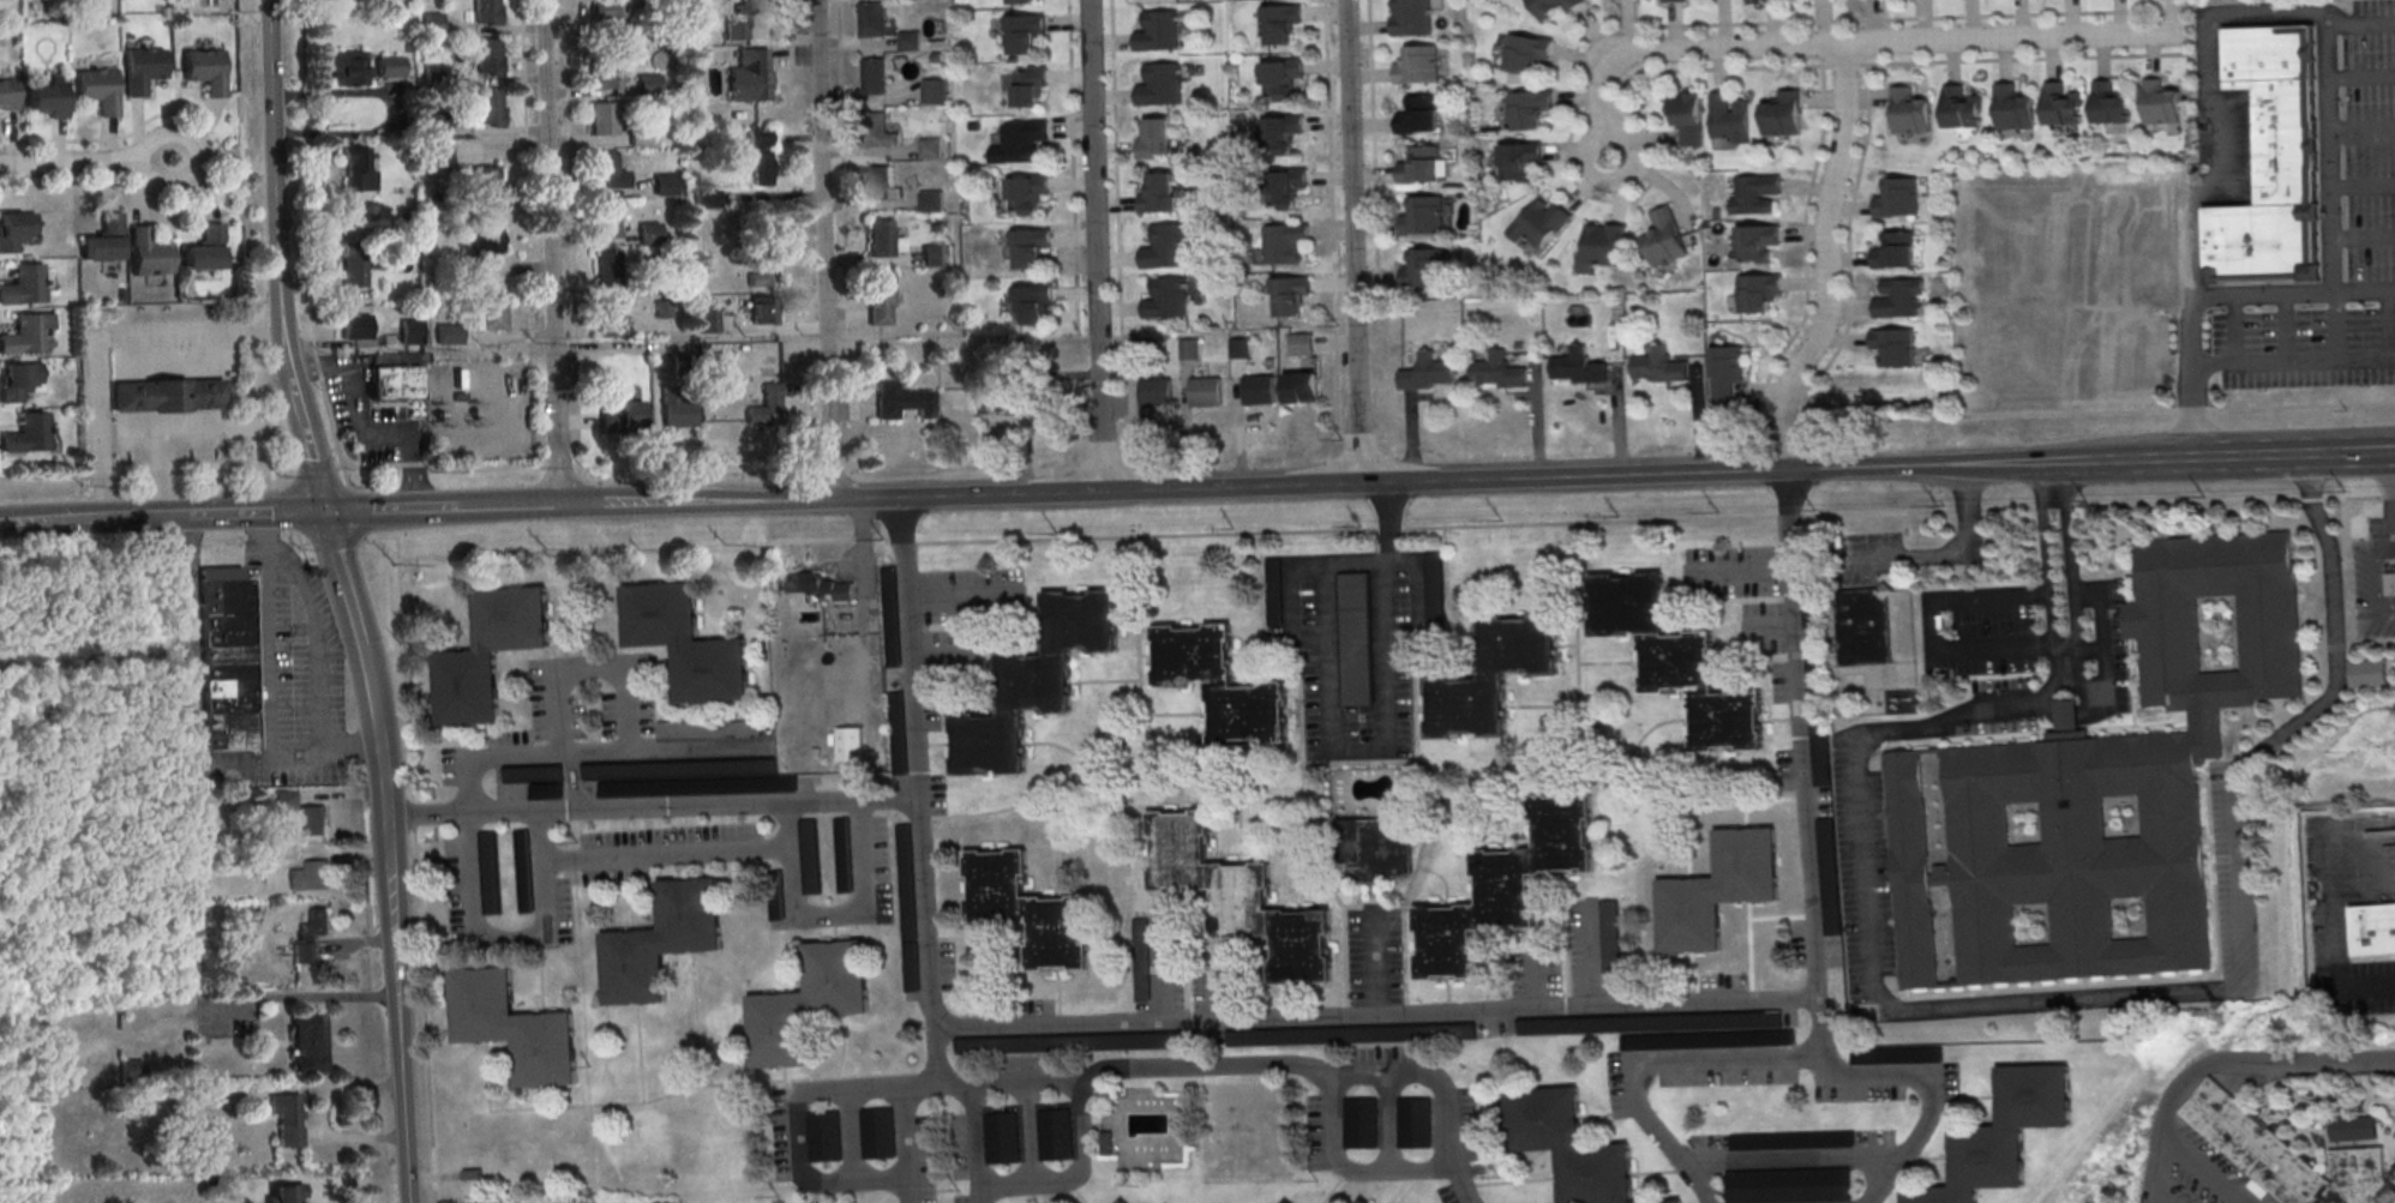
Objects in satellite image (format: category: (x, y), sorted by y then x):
building: (355, 0)
building: (1019, 1)
building: (1671, 1)
building: (751, 6)
building: (1550, 8)
building: (485, 11)
building: (611, 11)
building: (1412, 17)
building: (871, 20)
road: (1914, 20)
building: (432, 23)
building: (1280, 23)
building: (1022, 32)
building: (1157, 32)
building: (908, 42)
road: (1856, 43)
building: (1526, 52)
building: (486, 55)
building: (390, 65)
building: (1418, 65)
building: (349, 67)
road: (522, 67)
building: (140, 70)
road: (1689, 70)
building: (204, 71)
building: (600, 72)
building: (750, 76)
building: (874, 77)
road: (2361, 77)
building: (1279, 79)
building: (648, 84)
building: (1026, 84)
building: (1159, 86)
building: (98, 91)
building: (932, 91)
building: (6, 96)
building: (46, 100)
building: (2109, 103)
building: (2160, 103)
building: (2059, 104)
building: (487, 106)
building: (1961, 107)
building: (1529, 108)
building: (2011, 108)
building: (1910, 112)
road: (178, 115)
building: (1782, 115)
building: (1419, 116)
building: (1687, 116)
building: (1728, 118)
building: (601, 120)
building: (438, 124)
road: (2363, 127)
building: (872, 131)
building: (1280, 134)
building: (1156, 139)
building: (1021, 140)
road: (1328, 146)
road: (1371, 148)
building: (930, 149)
road: (2217, 154)
building: (761, 156)
building: (440, 157)
building: (1518, 158)
building: (2271, 161)
road: (88, 163)
building: (1421, 167)
road: (306, 169)
building: (358, 169)
building: (602, 170)
road: (1628, 175)
building: (487, 179)
road: (568, 179)
building: (665, 184)
building: (877, 184)
road: (65, 186)
building: (1283, 187)
road: (2364, 187)
road: (274, 190)
building: (1026, 192)
building: (1159, 193)
building: (1754, 194)
building: (707, 198)
building: (1897, 198)
building: (930, 201)
building: (1424, 217)
building: (605, 219)
building: (1539, 221)
road: (2333, 223)
building: (10, 231)
building: (648, 233)
road: (244, 234)
road: (2364, 236)
building: (1665, 237)
building: (878, 239)
building: (102, 241)
road: (1352, 242)
building: (1283, 243)
building: (1604, 243)
building: (1757, 243)
road: (1094, 246)
building: (1031, 247)
building: (1165, 247)
building: (485, 248)
road: (822, 249)
building: (203, 251)
road: (551, 252)
building: (1893, 252)
building: (146, 254)
building: (932, 257)
road: (1825, 263)
building: (353, 264)
building: (606, 270)
building: (1425, 270)
building: (763, 273)
building: (23, 285)
road: (2364, 290)
building: (1757, 293)
building: (1289, 295)
building: (1166, 299)
building: (1899, 299)
building: (878, 300)
building: (1033, 300)
building: (762, 309)
building: (491, 314)
building: (610, 318)
building: (706, 319)
building: (356, 326)
road: (2388, 326)
road: (2336, 327)
road: (2286, 329)
building: (412, 330)
road: (2234, 331)
building: (24, 336)
building: (448, 336)
road: (98, 337)
building: (1302, 343)
building: (1239, 347)
building: (1893, 347)
building: (1190, 348)
road: (316, 356)
road: (318, 363)
road: (2293, 363)
building: (1659, 365)
building: (1579, 366)
building: (1727, 369)
building: (1499, 371)
building: (1429, 372)
building: (457, 379)
building: (17, 381)
building: (56, 385)
building: (395, 385)
building: (1302, 387)
building: (1259, 390)
building: (168, 393)
building: (1156, 393)
building: (1205, 393)
building: (1002, 396)
building: (457, 398)
building: (902, 401)
building: (677, 407)
building: (767, 407)
power substation: (479, 409)
road: (2053, 415)
road: (361, 416)
building: (620, 416)
road: (331, 422)
road: (186, 429)
building: (26, 435)
road: (545, 438)
road: (307, 445)
road: (2270, 457)
road: (2097, 462)
road: (2005, 465)
road: (416, 467)
road: (367, 468)
road: (314, 469)
road: (409, 469)
road: (1873, 469)
road: (146, 474)
road: (2051, 481)
road: (1172, 489)
road: (352, 505)
road: (510, 507)
traffic signals: (324, 512)
road: (392, 512)
road: (254, 515)
road: (287, 515)
road: (92, 521)
road: (1656, 524)
road: (2381, 536)
road: (2387, 540)
road: (902, 547)
road: (722, 554)
road: (1945, 554)
road: (476, 561)
road: (1740, 572)
road: (2069, 573)
road: (2045, 576)
road: (340, 579)
building: (1434, 584)
building: (821, 587)
building: (1274, 589)
road: (960, 594)
road: (1385, 608)
building: (1812, 612)
building: (889, 619)
building: (1863, 628)
road: (1931, 633)
building: (1355, 640)
building: (686, 644)
road: (318, 650)
road: (2103, 651)
road: (941, 654)
building: (488, 655)
building: (226, 661)
road: (1329, 663)
building: (1676, 663)
road: (594, 668)
building: (2369, 672)
road: (264, 674)
building: (1490, 678)
building: (1034, 682)
building: (1219, 684)
building: (1819, 717)
building: (690, 727)
road: (377, 730)
building: (895, 734)
road: (1801, 734)
building: (850, 742)
road: (595, 754)
road: (916, 762)
building: (671, 768)
building: (538, 778)
building: (683, 786)
road: (338, 794)
building: (2095, 794)
building: (286, 800)
road: (653, 808)
building: (312, 822)
road: (414, 823)
road: (785, 825)
road: (787, 848)
building: (1376, 848)
road: (342, 852)
building: (287, 853)
building: (841, 856)
building: (809, 859)
building: (523, 870)
building: (490, 872)
building: (1830, 876)
building: (311, 877)
building: (1506, 886)
building: (1717, 891)
building: (1238, 898)
building: (905, 909)
building: (1026, 912)
building: (2372, 931)
road: (2333, 936)
building: (311, 937)
building: (1609, 940)
building: (661, 942)
road: (509, 943)
road: (355, 944)
road: (1589, 954)
building: (1141, 958)
road: (1373, 962)
road: (1158, 972)
road: (1535, 979)
road: (2090, 998)
road: (248, 1000)
building: (808, 1004)
road: (401, 1010)
power tower: (2217, 1012)
road: (1374, 1013)
road: (1820, 1025)
building: (1671, 1028)
building: (515, 1029)
building: (1351, 1034)
building: (1079, 1041)
building: (308, 1043)
building: (1895, 1054)
road: (1778, 1057)
road: (2221, 1059)
road: (1268, 1065)
road: (942, 1066)
building: (130, 1072)
road: (341, 1090)
road: (792, 1118)
building: (287, 1120)
road: (1387, 1120)
building: (1359, 1121)
building: (1415, 1121)
building: (2354, 1129)
building: (877, 1132)
building: (1055, 1133)
park: (1245, 1133)
building: (823, 1135)
building: (2004, 1135)
building: (1002, 1137)
road: (354, 1139)
road: (902, 1139)
building: (1793, 1139)
building: (1105, 1143)
road: (977, 1144)
building: (1566, 1145)
building: (2287, 1155)
road: (1791, 1162)
road: (1349, 1168)
road: (1074, 1179)
building: (1788, 1185)
building: (286, 1193)
building: (1122, 1201)
building: (1285, 1202)
building: (1363, 1202)
building: (1664, 1202)

